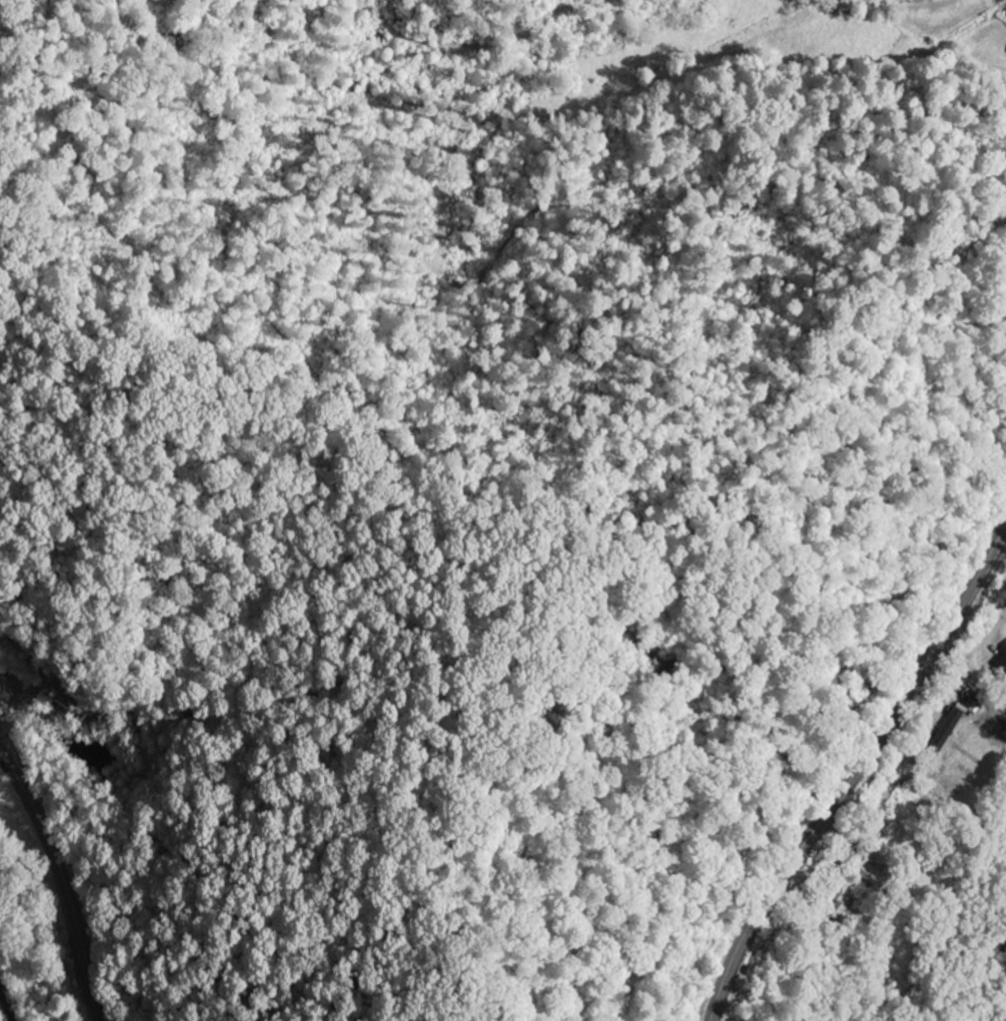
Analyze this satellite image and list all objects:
road: (929, 728)
building: (945, 731)
road: (851, 785)
building: (871, 871)
road: (61, 884)

